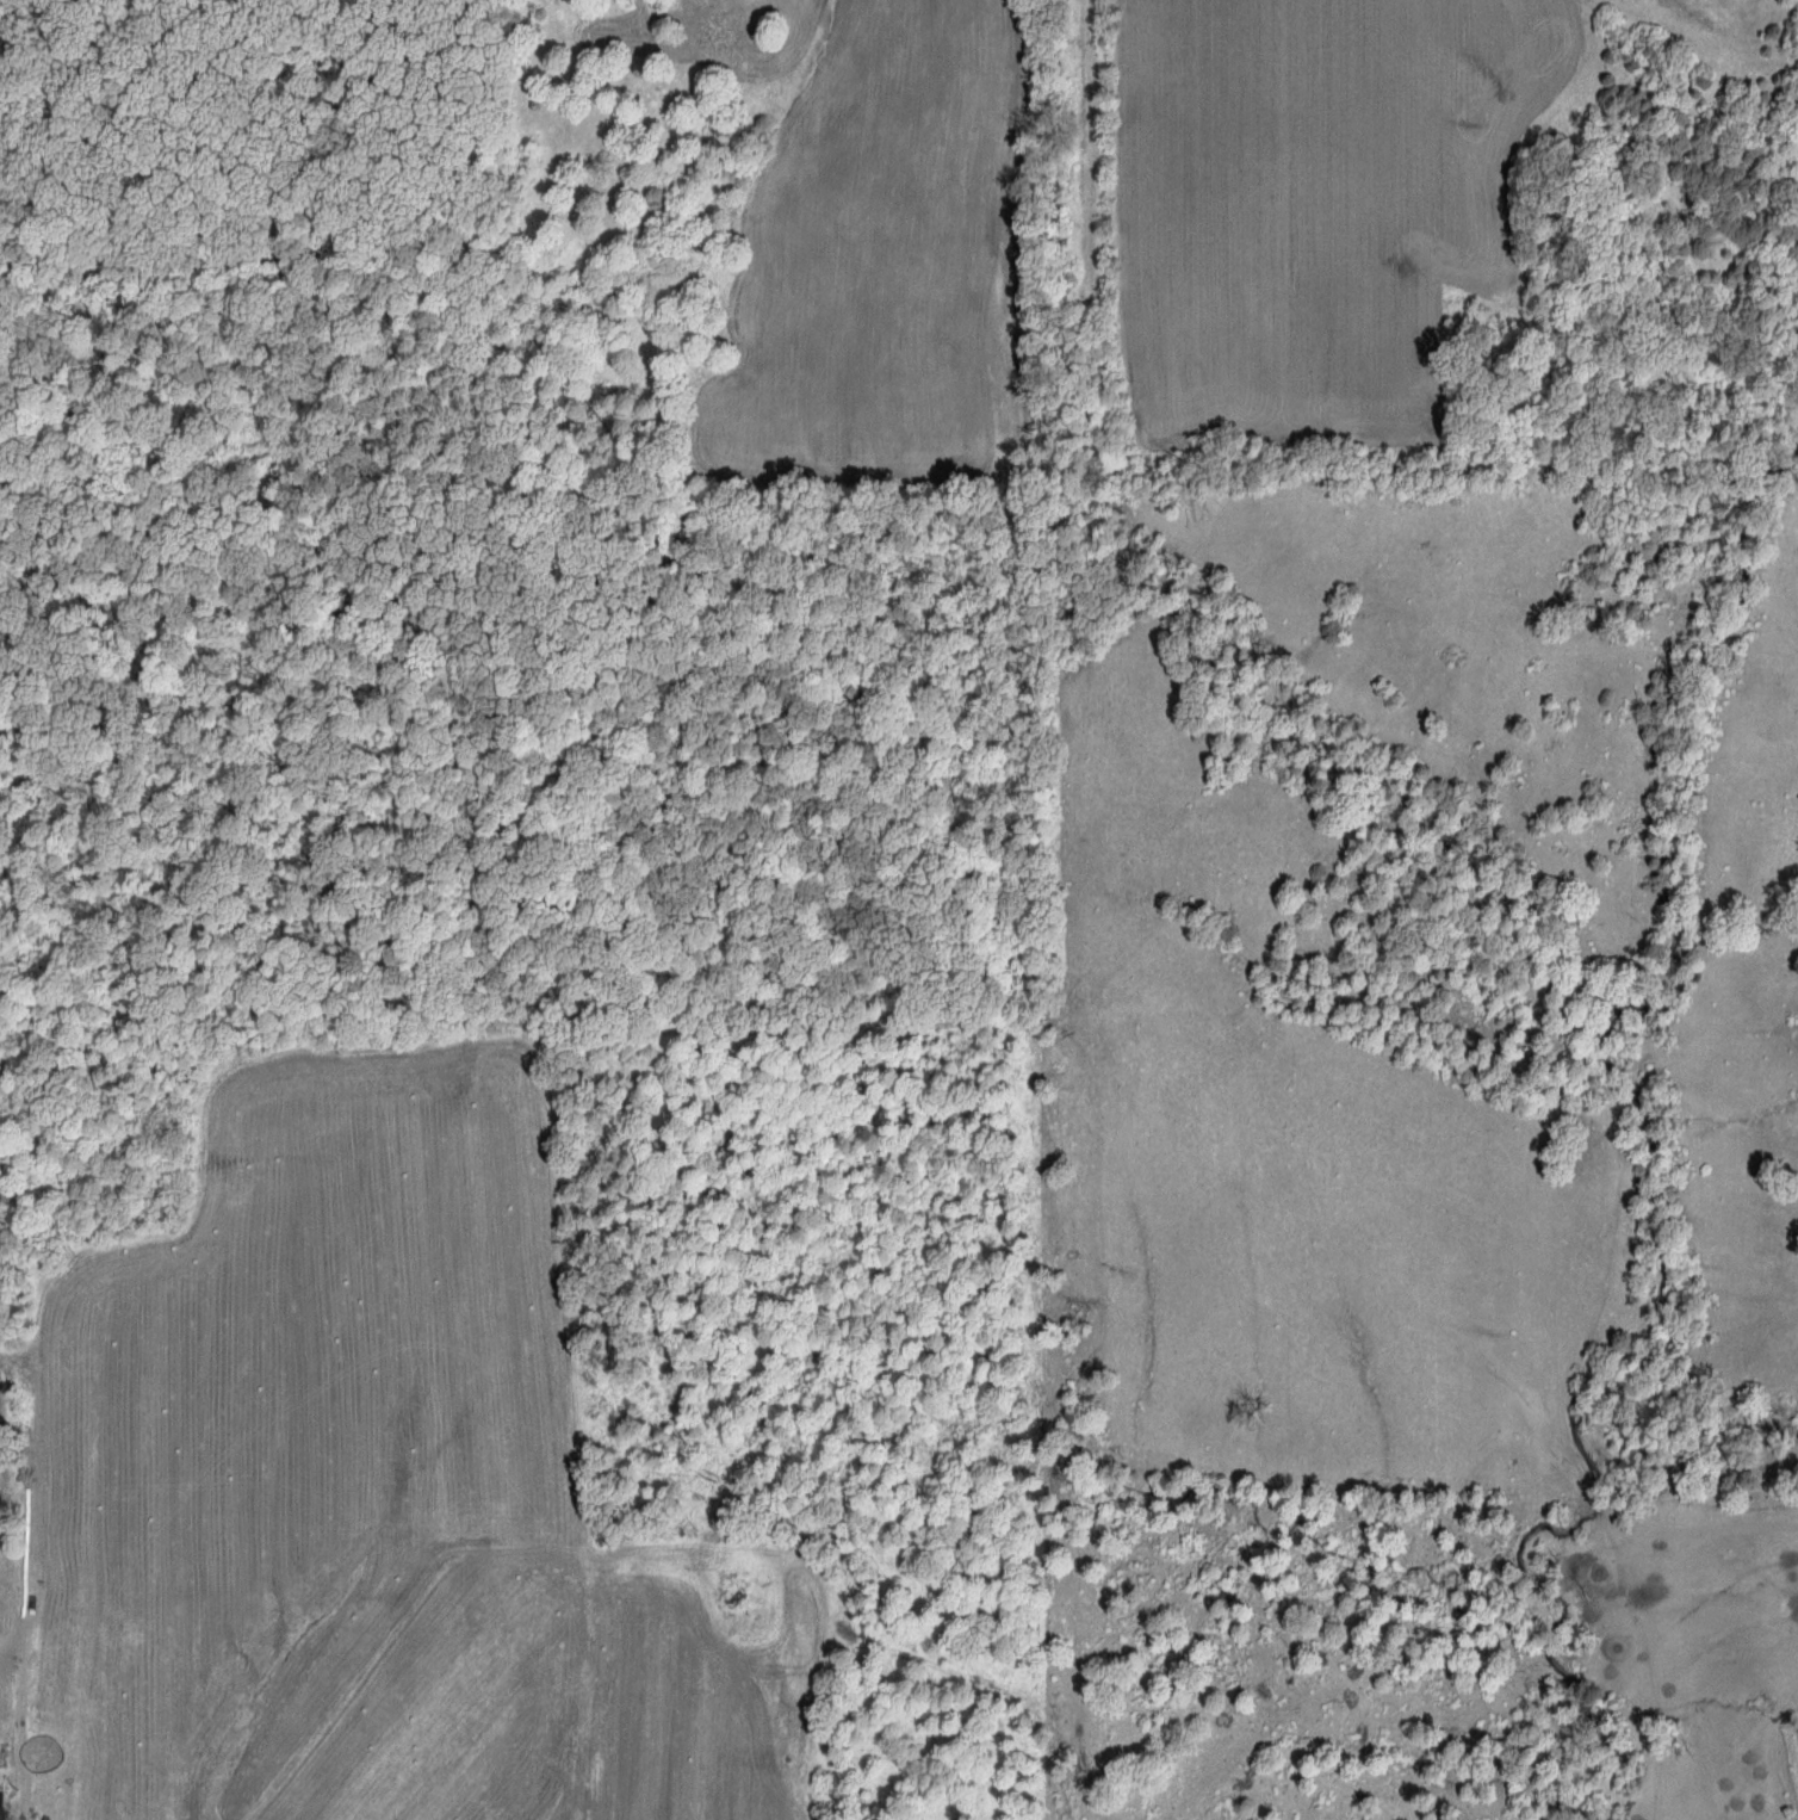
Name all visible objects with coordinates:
building: (1, 1804)

